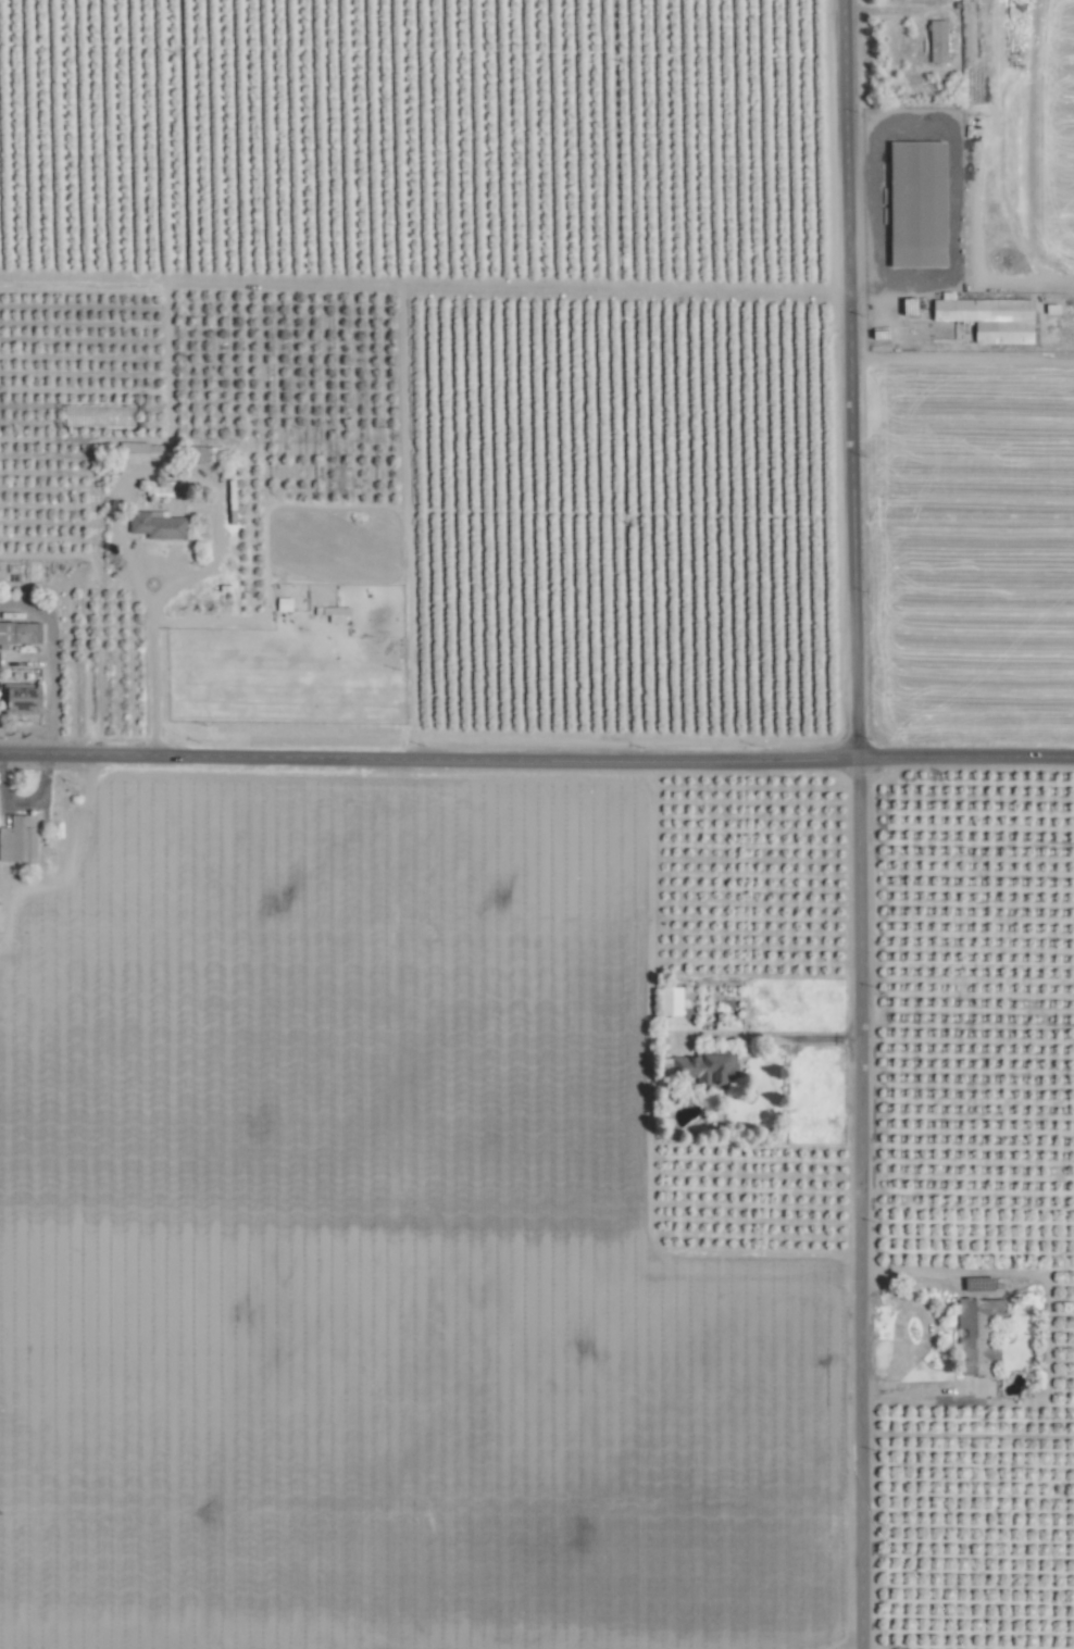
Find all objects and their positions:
building: (936, 40)
building: (915, 202)
road: (426, 287)
building: (988, 317)
building: (141, 452)
building: (159, 487)
building: (155, 525)
building: (18, 633)
building: (3, 657)
road: (49, 660)
road: (150, 666)
building: (21, 698)
road: (536, 760)
road: (43, 795)
crop: (537, 824)
road: (858, 824)
building: (17, 838)
building: (669, 1000)
building: (700, 1069)
building: (976, 1334)
road: (924, 1338)

